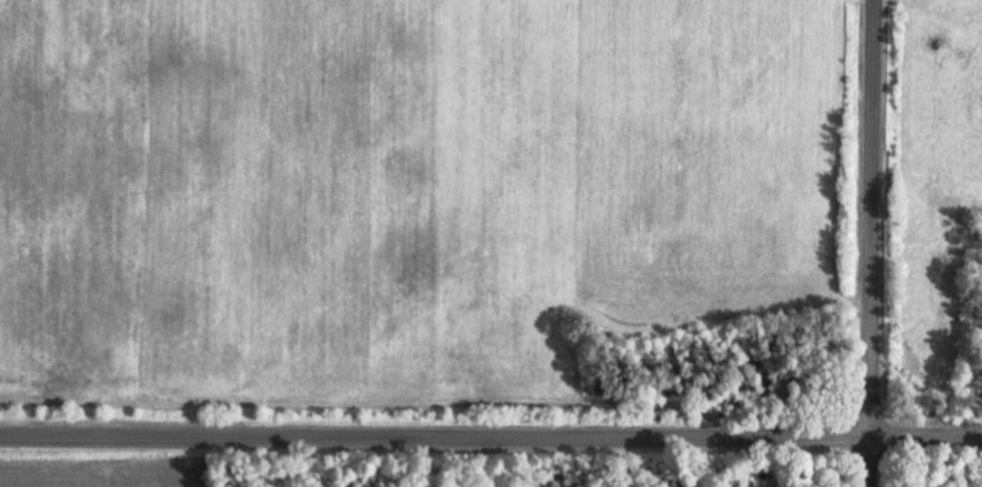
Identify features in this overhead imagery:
road: (863, 243)
road: (490, 443)

